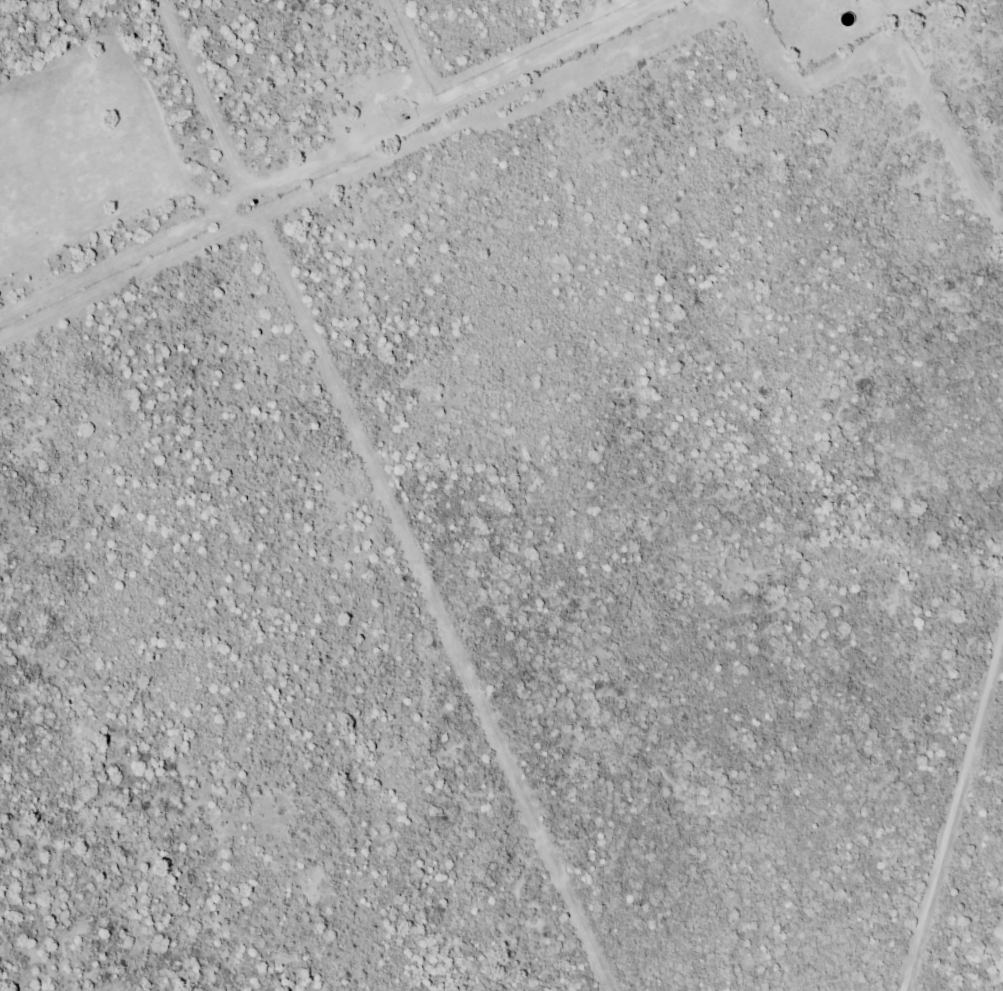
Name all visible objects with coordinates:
road: (937, 116)
road: (954, 800)

